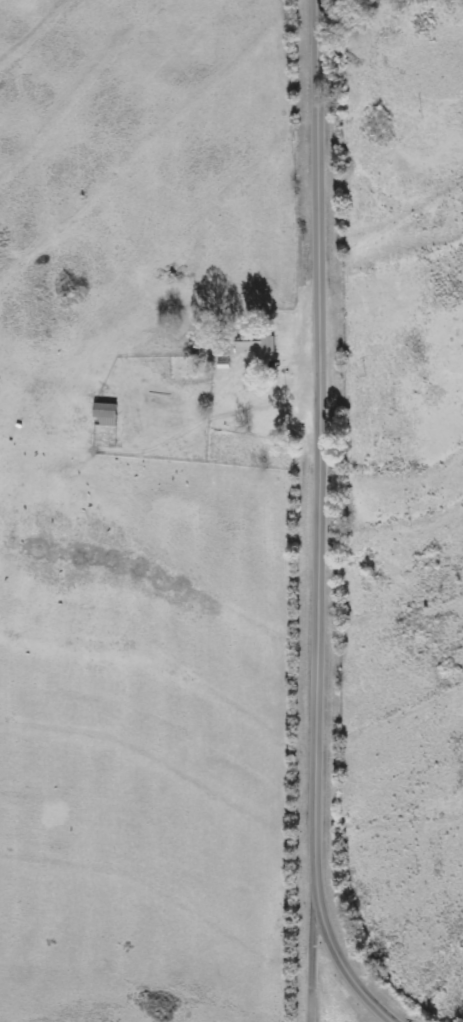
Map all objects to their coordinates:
building: (258, 349)
building: (106, 415)
road: (319, 525)
road: (314, 943)
road: (310, 1006)

